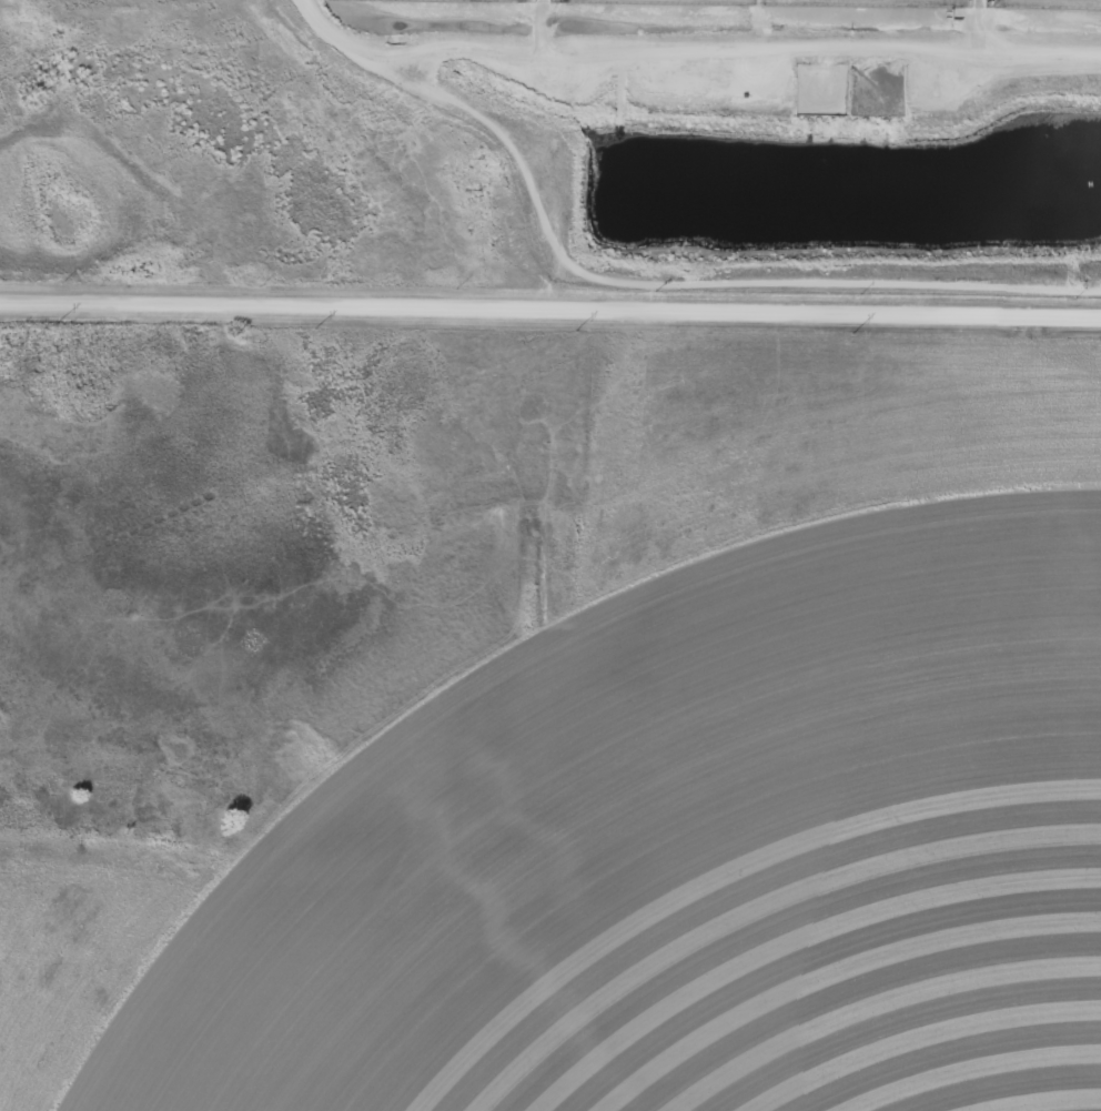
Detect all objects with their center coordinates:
road: (549, 311)

